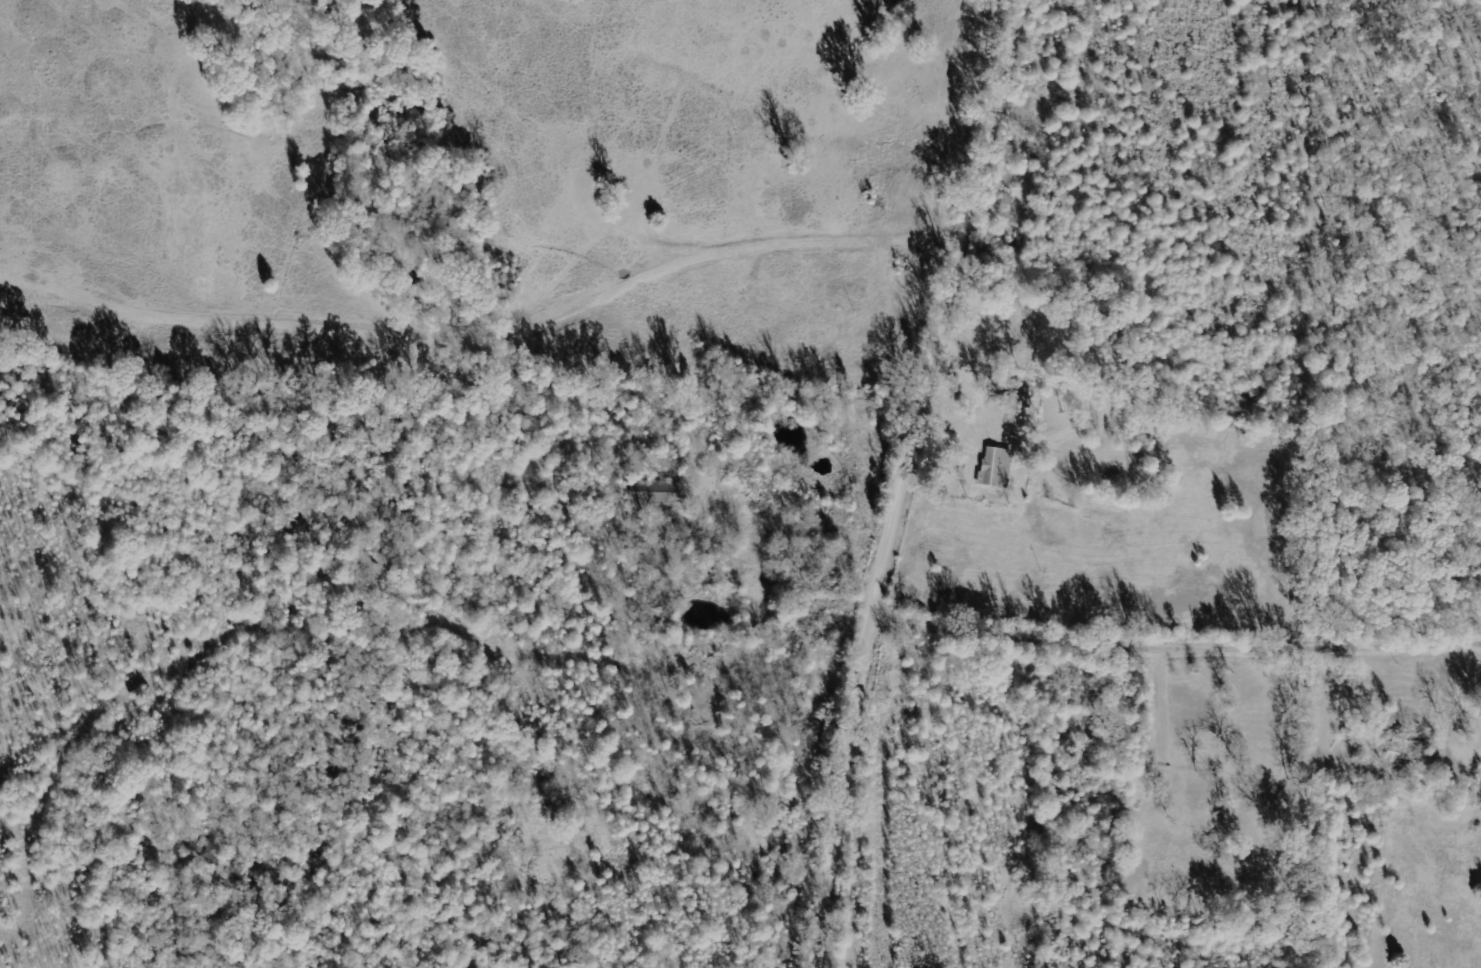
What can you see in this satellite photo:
building: (994, 468)
road: (909, 478)
road: (1178, 652)
park: (1201, 847)

